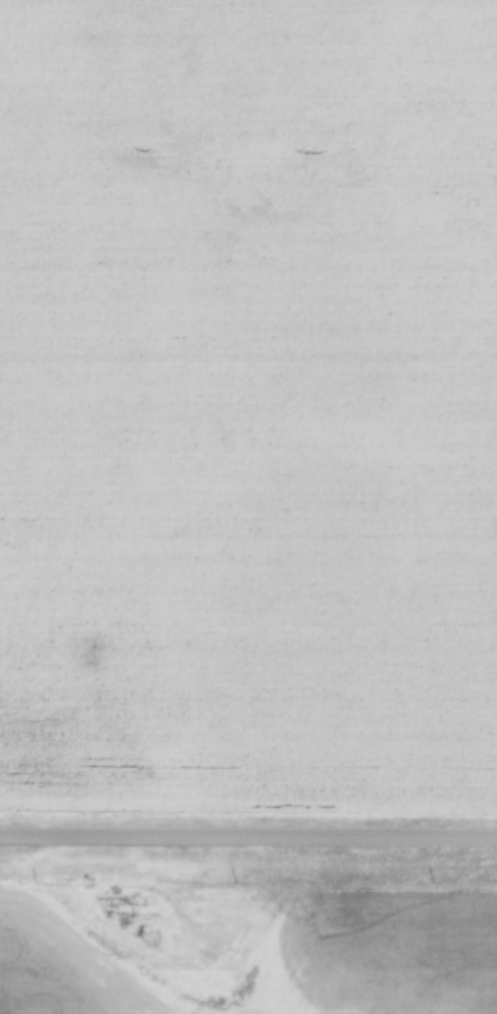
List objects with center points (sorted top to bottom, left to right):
road: (248, 831)

